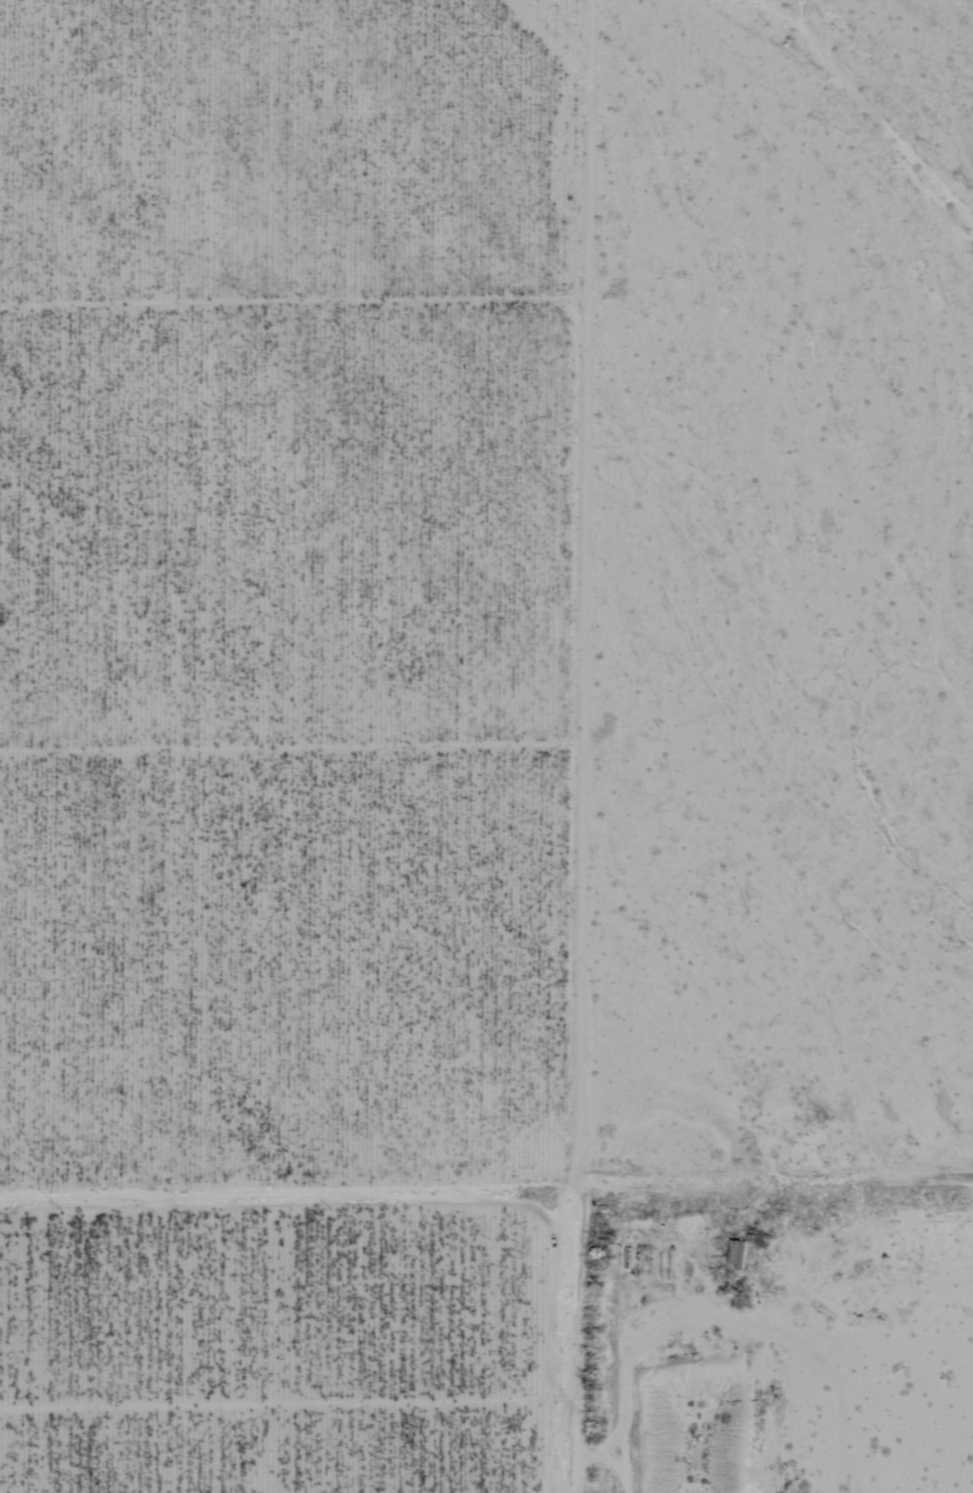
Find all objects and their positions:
road: (621, 1181)

